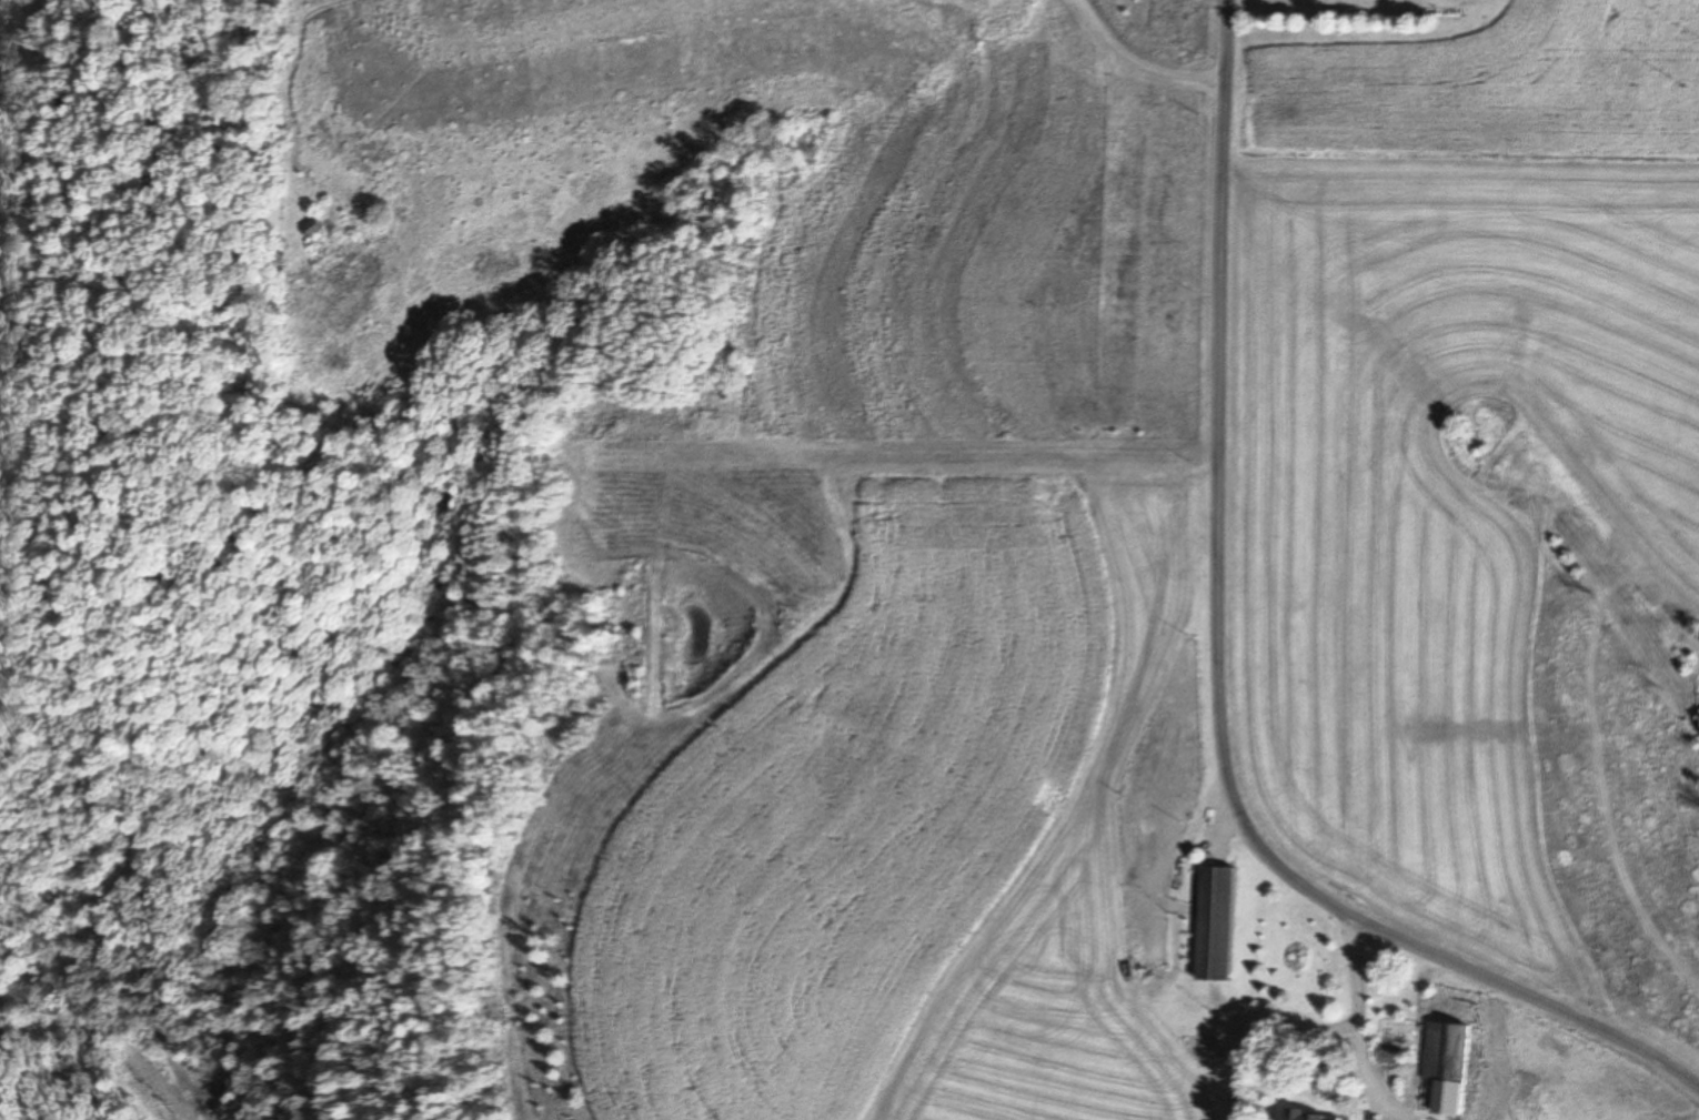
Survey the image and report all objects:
road: (1219, 679)
building: (1213, 925)
road: (1356, 1025)
building: (1386, 1056)
building: (1441, 1071)

